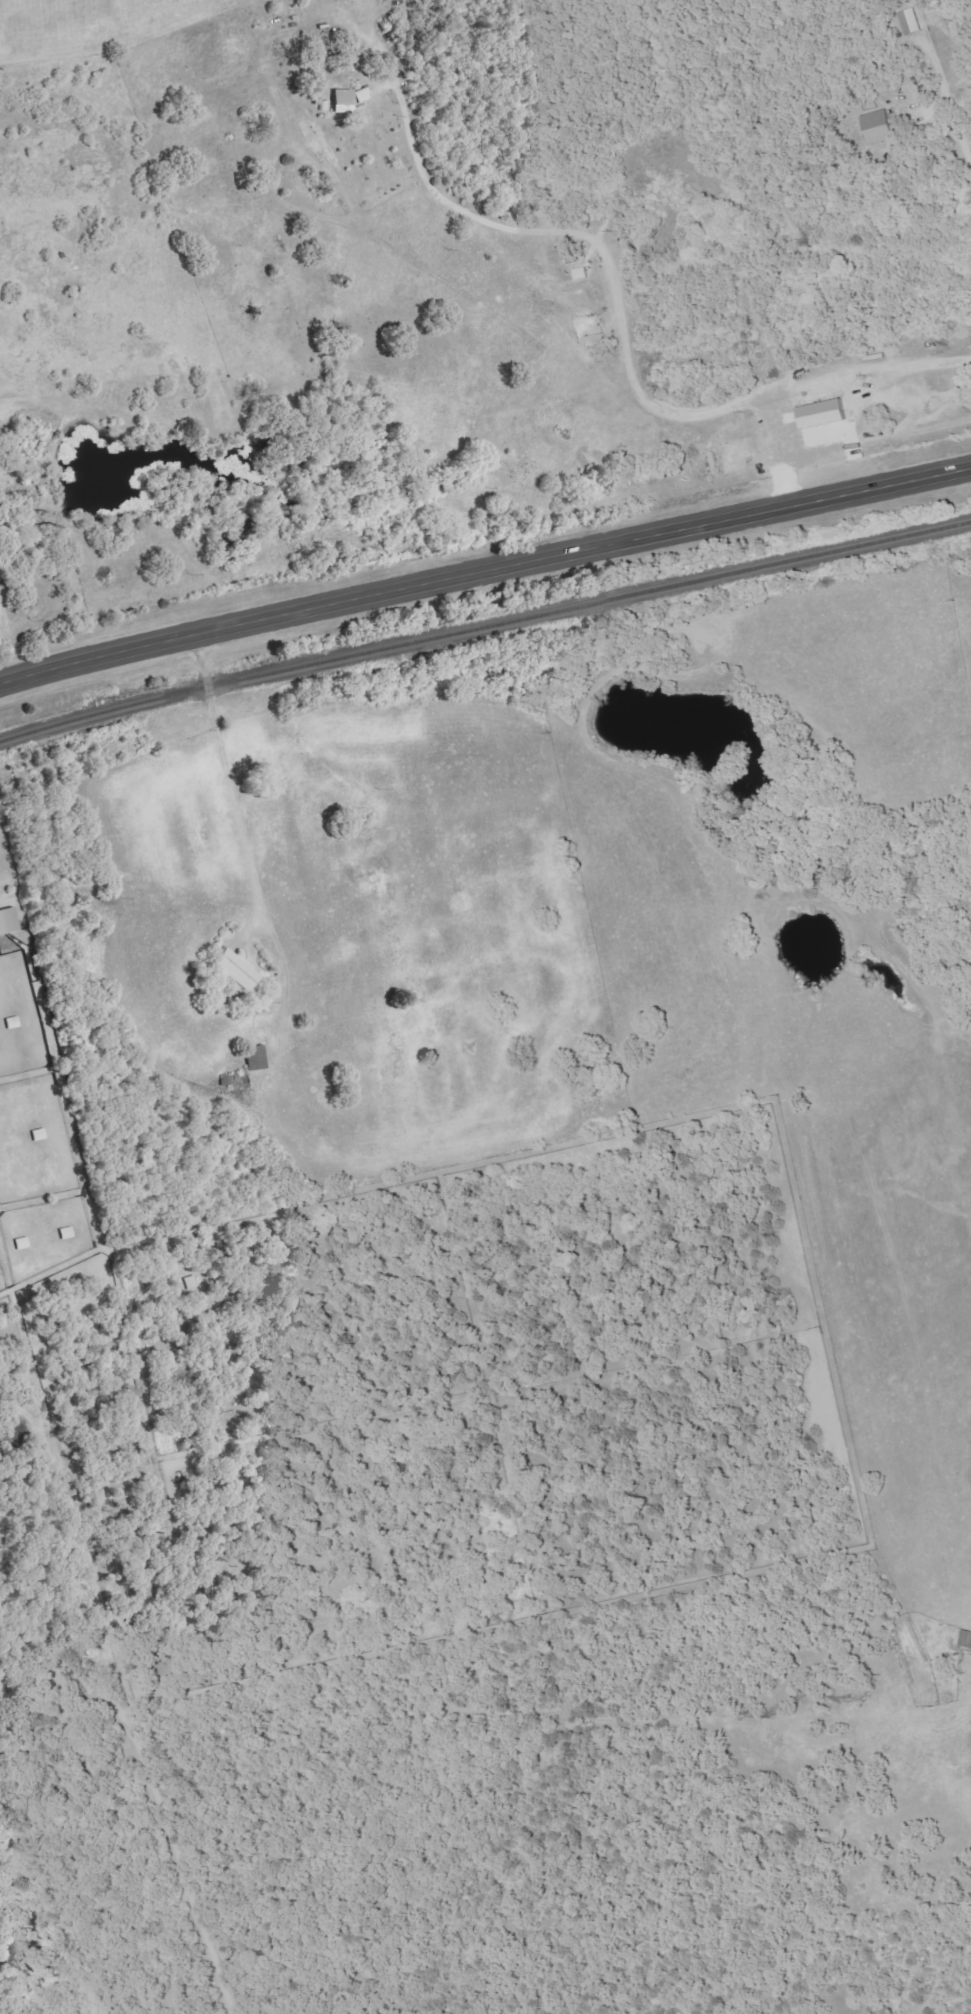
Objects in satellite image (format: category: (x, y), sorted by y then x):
building: (910, 22)
building: (351, 100)
building: (881, 128)
building: (317, 142)
building: (584, 274)
road: (484, 574)
railway: (484, 626)
road: (11, 648)
road: (229, 789)
building: (9, 921)
building: (240, 970)
building: (14, 1023)
building: (40, 1135)
building: (68, 1233)
building: (23, 1243)
building: (964, 1640)

